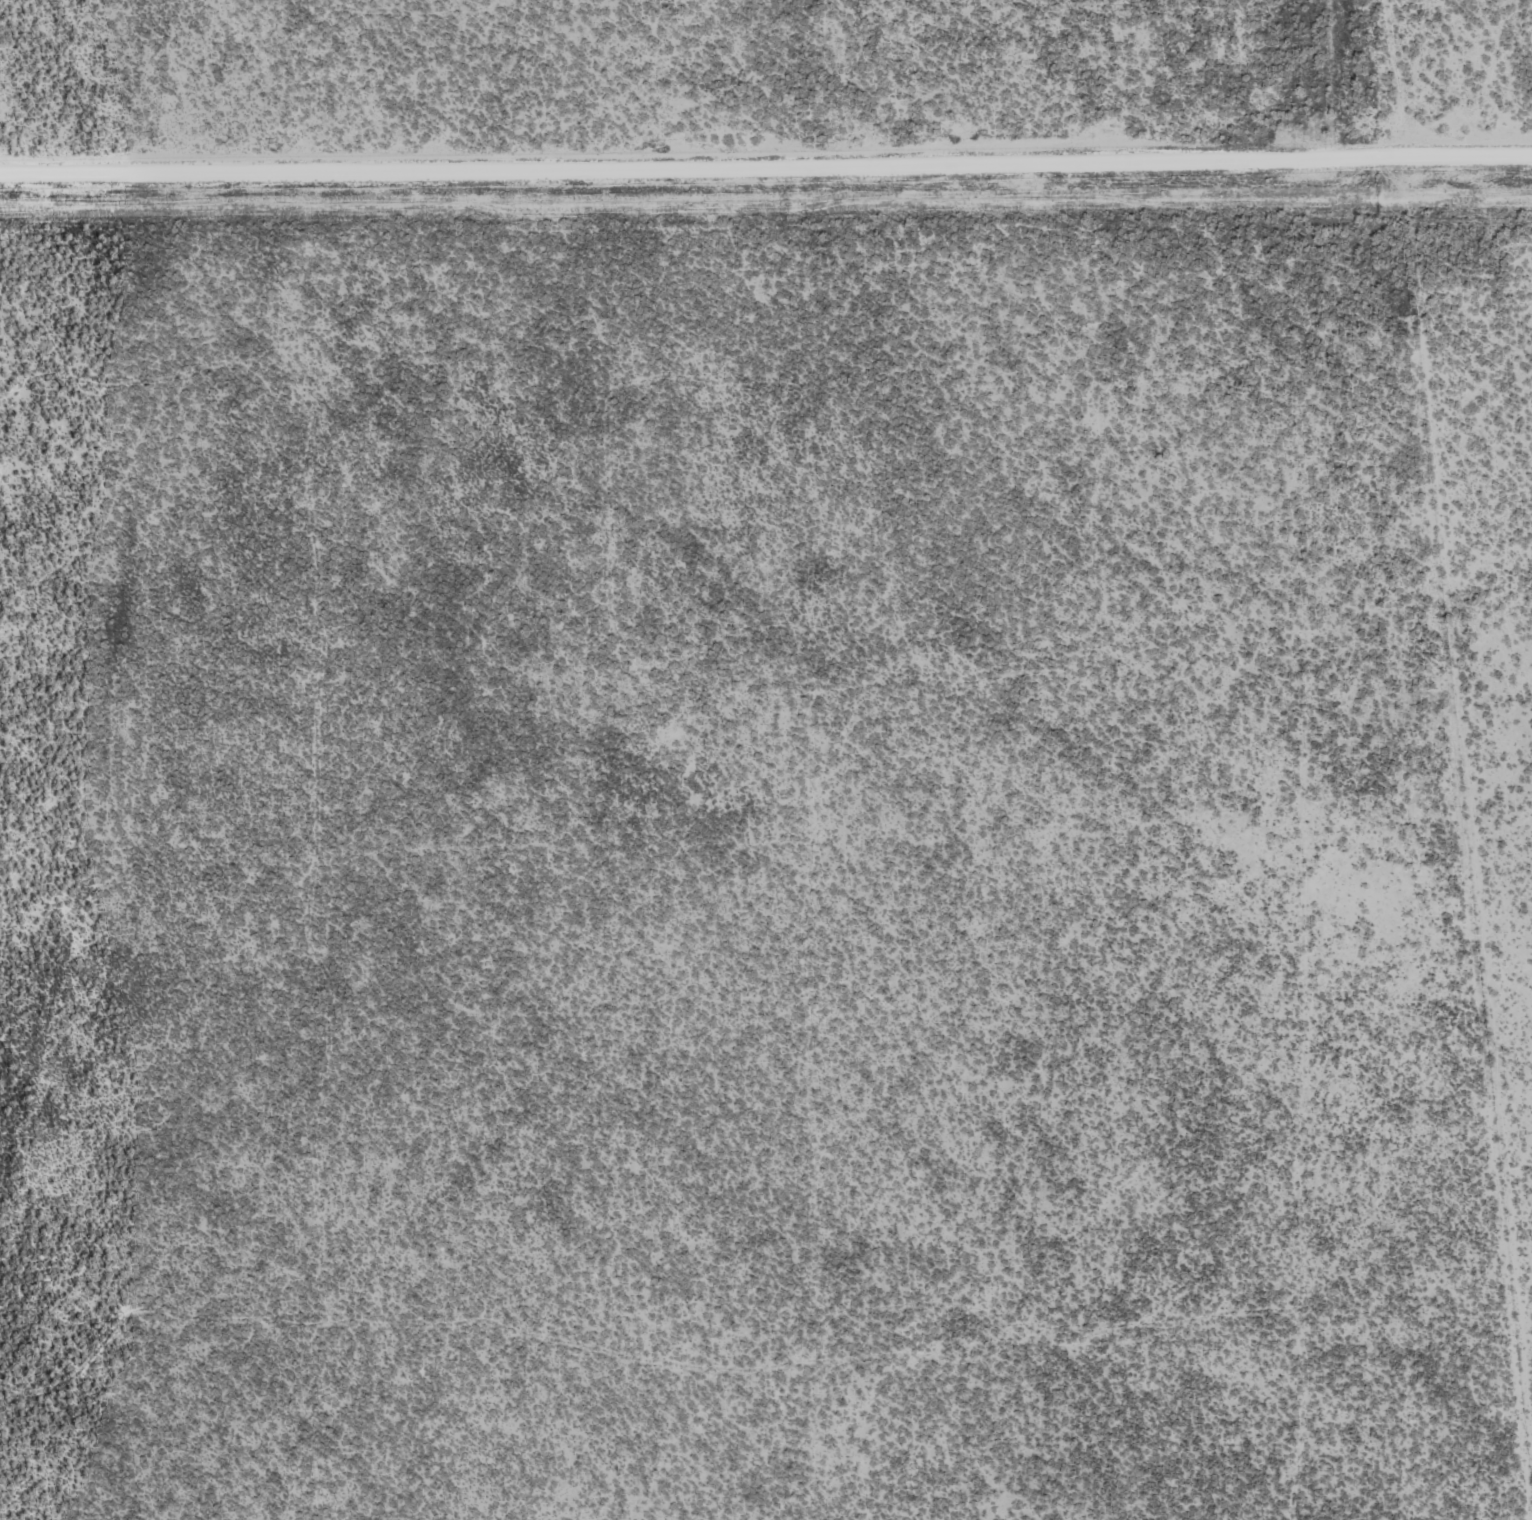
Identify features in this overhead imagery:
road: (1100, 228)

